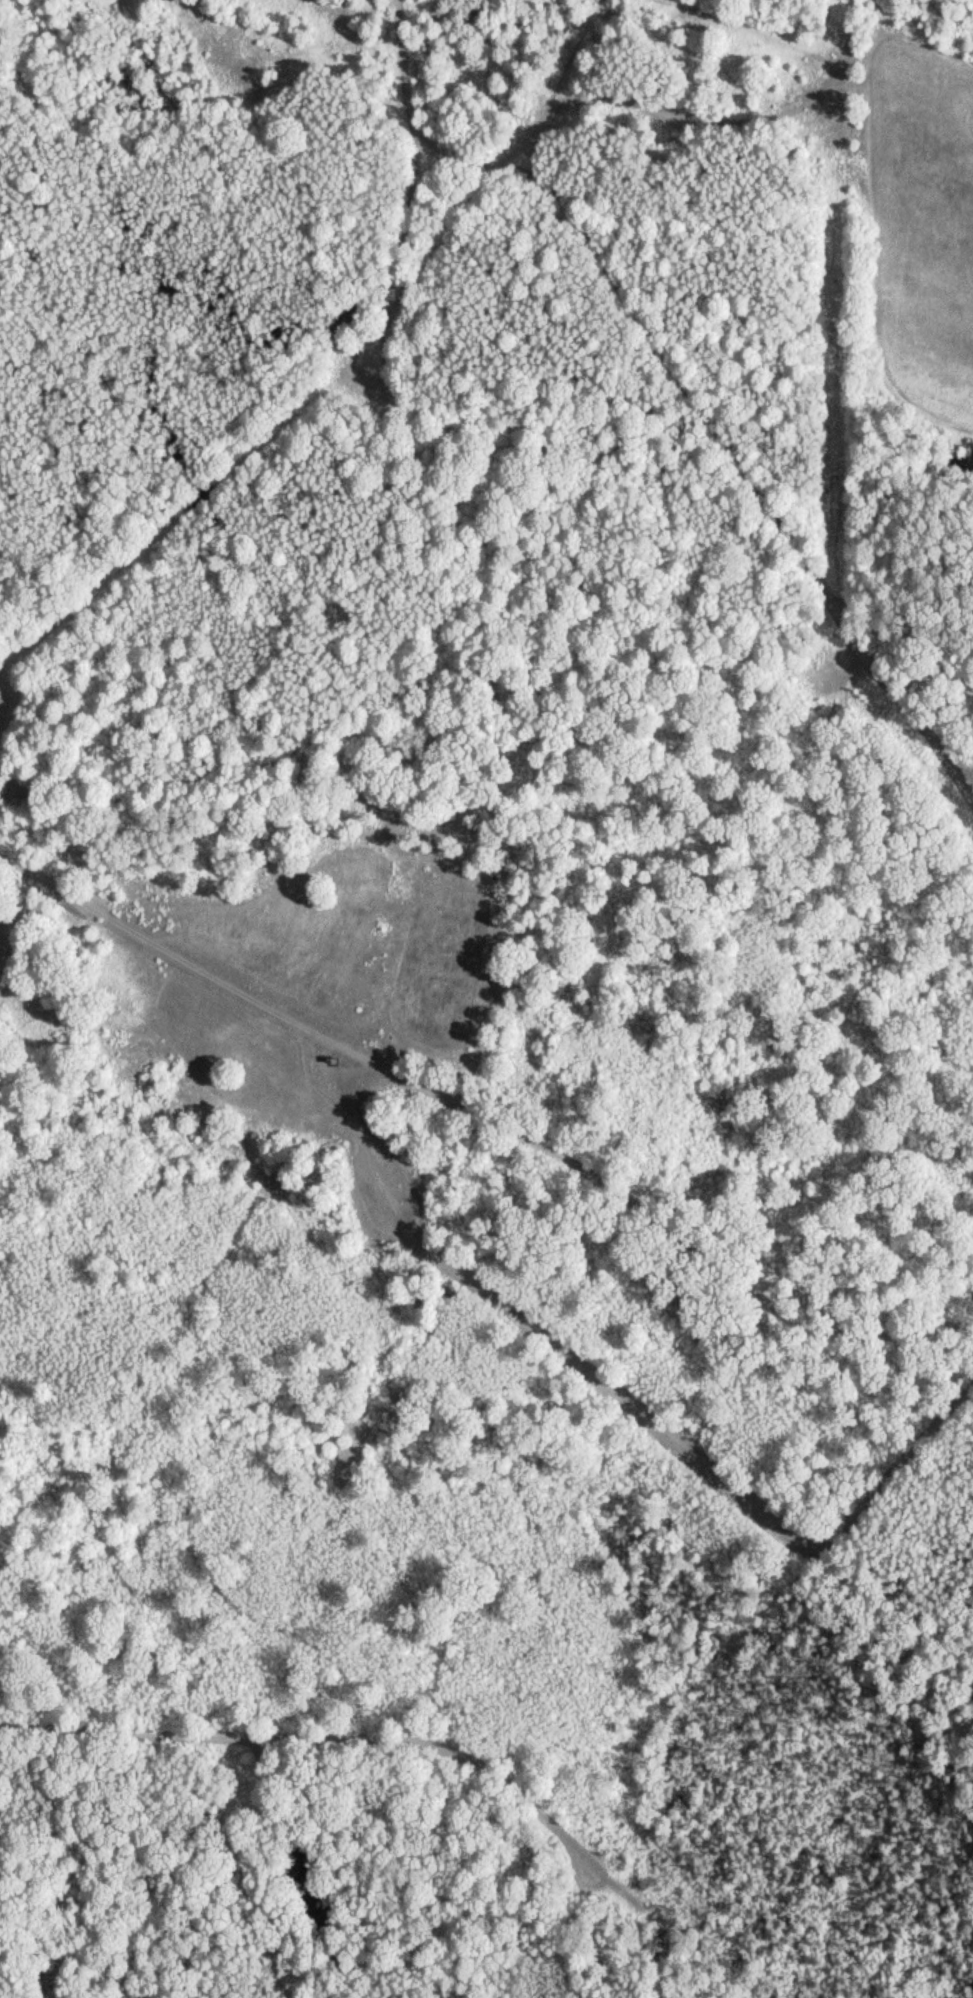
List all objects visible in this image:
road: (703, 147)
road: (405, 243)
road: (674, 427)
road: (487, 1119)
road: (339, 1787)

